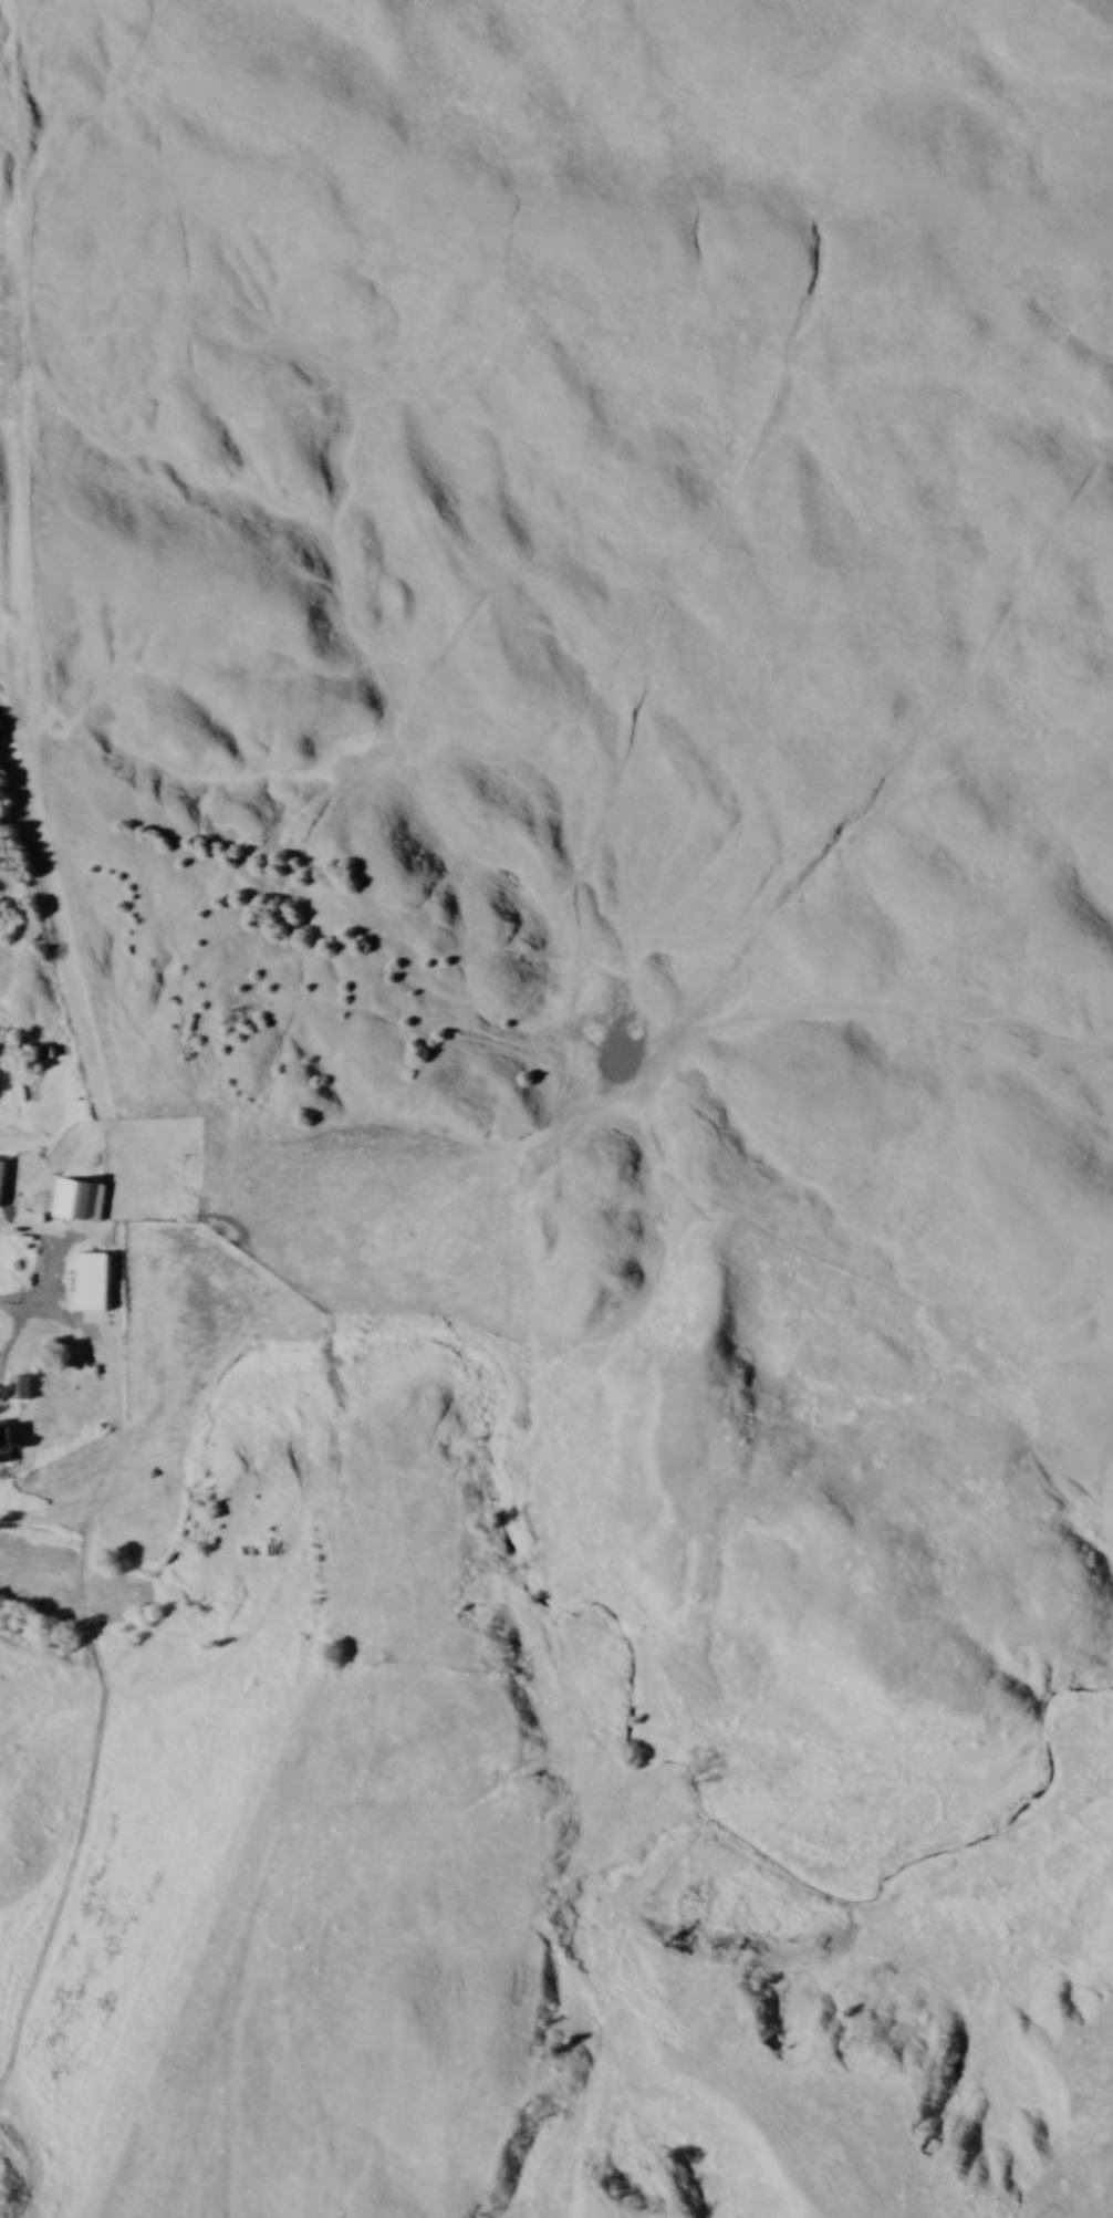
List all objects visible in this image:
building: (2, 1183)
building: (82, 1202)
building: (97, 1283)
road: (46, 1291)
building: (25, 1389)
building: (9, 1446)

